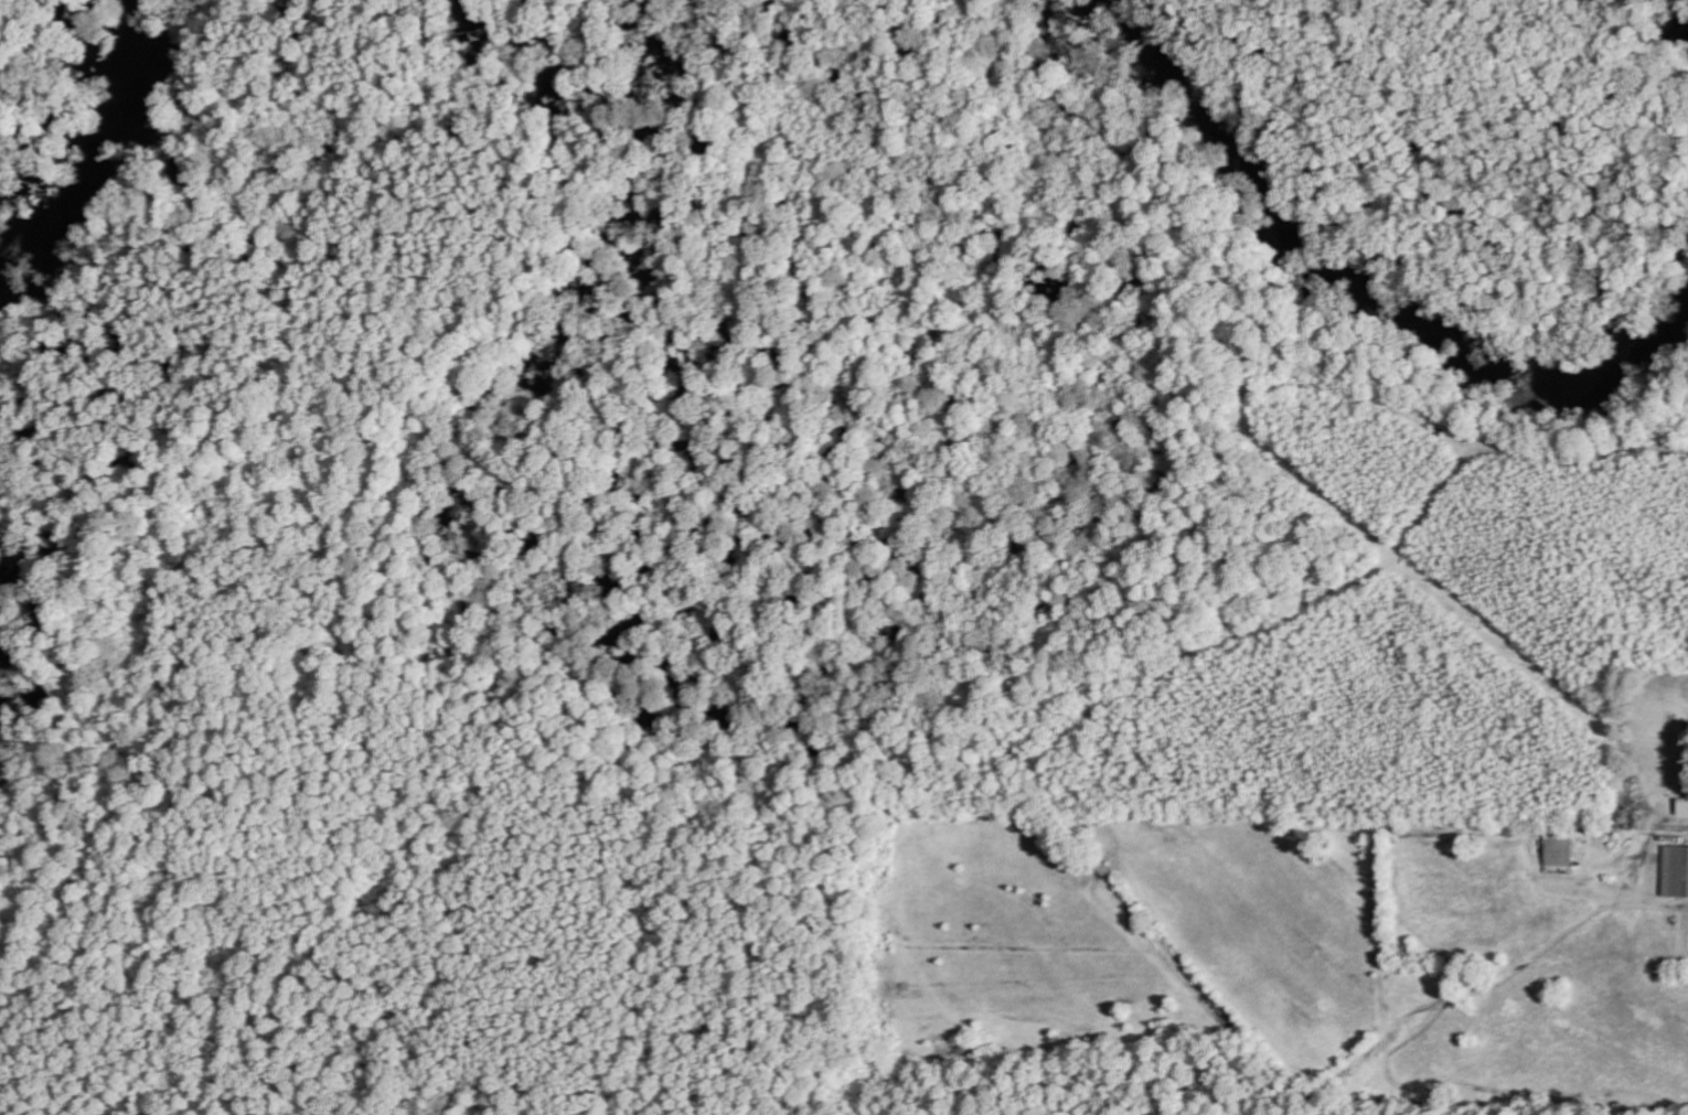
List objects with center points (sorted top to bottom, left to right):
river: (1682, 9)
river: (105, 167)
river: (1368, 277)
river: (2, 688)
building: (1681, 807)
building: (1560, 853)
building: (1675, 871)

